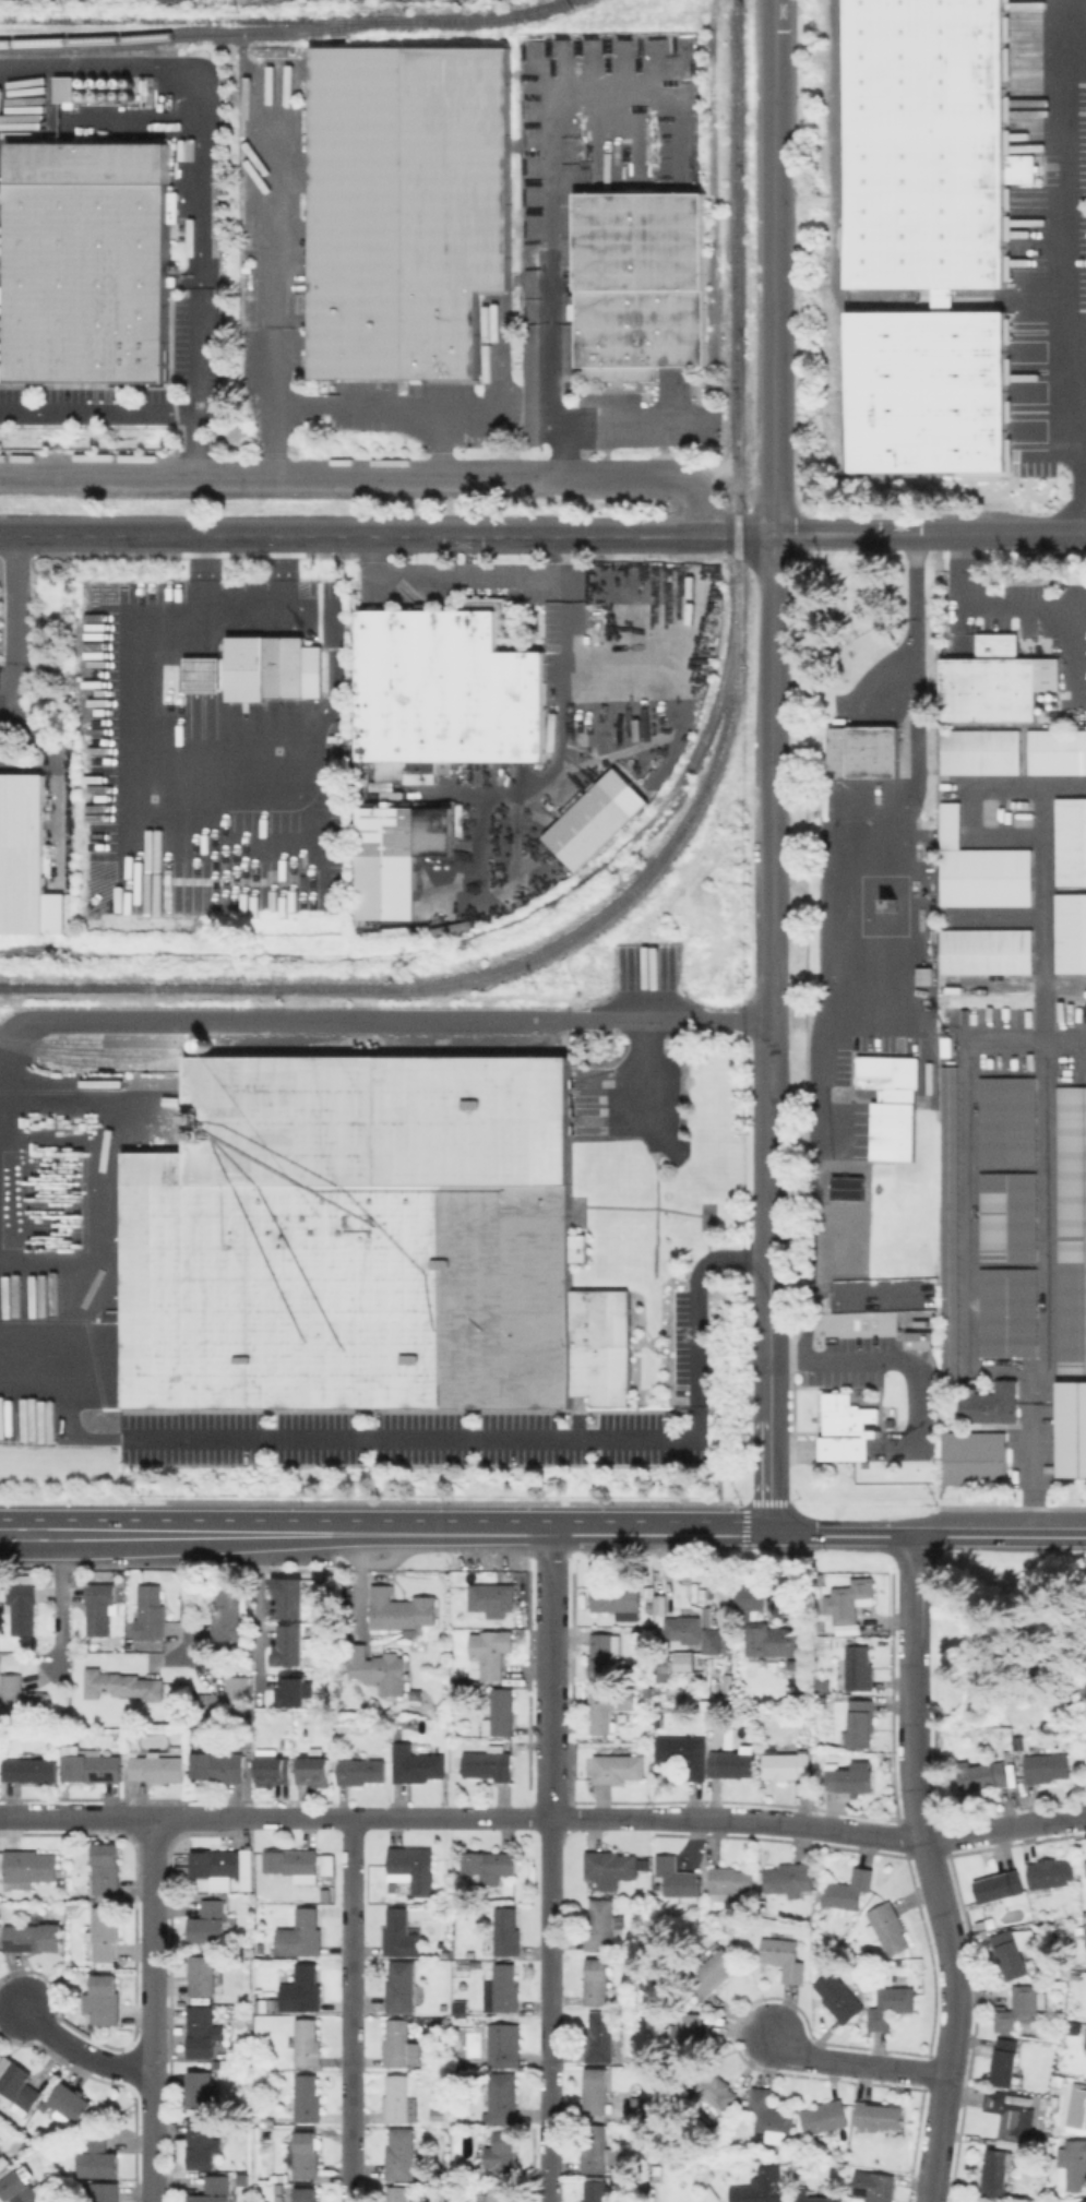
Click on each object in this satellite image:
railway: (287, 21)
railway: (205, 33)
road: (144, 62)
road: (22, 63)
building: (65, 90)
building: (148, 90)
road: (98, 116)
building: (926, 144)
building: (1018, 168)
building: (408, 206)
road: (200, 209)
railway: (839, 233)
road: (550, 238)
building: (642, 240)
building: (92, 262)
road: (775, 269)
road: (1067, 274)
building: (2, 295)
railway: (736, 303)
building: (642, 328)
building: (622, 373)
road: (195, 388)
building: (926, 391)
road: (349, 404)
road: (97, 413)
road: (608, 426)
road: (375, 475)
road: (857, 534)
road: (1013, 534)
road: (8, 535)
road: (193, 536)
road: (572, 537)
road: (474, 575)
road: (204, 579)
building: (492, 607)
road: (982, 612)
road: (15, 618)
road: (308, 624)
building: (263, 666)
building: (200, 675)
building: (998, 682)
building: (447, 688)
road: (128, 705)
road: (563, 750)
building: (863, 750)
building: (978, 751)
building: (1055, 751)
building: (422, 766)
building: (381, 785)
building: (589, 825)
road: (885, 840)
building: (1070, 841)
railway: (619, 849)
building: (398, 856)
building: (26, 860)
building: (978, 868)
building: (839, 894)
building: (1070, 932)
building: (984, 951)
railway: (25, 952)
railway: (174, 954)
building: (921, 975)
railway: (484, 976)
road: (380, 1016)
road: (772, 1036)
railway: (84, 1039)
railway: (93, 1064)
road: (644, 1072)
building: (892, 1104)
building: (1009, 1122)
building: (1009, 1217)
building: (951, 1226)
road: (1043, 1227)
building: (1072, 1231)
building: (356, 1236)
building: (1009, 1313)
building: (917, 1338)
building: (600, 1345)
road: (897, 1361)
building: (992, 1404)
building: (848, 1428)
building: (1072, 1430)
road: (447, 1440)
building: (975, 1459)
road: (1027, 1468)
road: (83, 1535)
road: (175, 1535)
road: (259, 1535)
road: (552, 1535)
road: (840, 1535)
road: (998, 1536)
road: (183, 1594)
building: (648, 1595)
building: (290, 1596)
building: (751, 1596)
road: (58, 1597)
building: (492, 1598)
building: (618, 1599)
building: (850, 1599)
building: (97, 1609)
building: (398, 1610)
building: (20, 1614)
building: (152, 1614)
building: (228, 1614)
road: (258, 1615)
road: (910, 1628)
building: (694, 1631)
building: (773, 1640)
building: (288, 1647)
building: (490, 1652)
building: (604, 1654)
building: (681, 1662)
building: (859, 1668)
building: (379, 1669)
road: (549, 1676)
building: (123, 1685)
building: (821, 1687)
building: (290, 1690)
building: (227, 1698)
building: (21, 1699)
building: (609, 1706)
building: (501, 1713)
building: (860, 1722)
building: (685, 1752)
building: (417, 1763)
building: (490, 1763)
building: (733, 1763)
building: (787, 1764)
building: (93, 1765)
building: (219, 1765)
building: (618, 1766)
building: (1047, 1766)
building: (158, 1767)
building: (272, 1767)
building: (313, 1769)
building: (32, 1770)
building: (361, 1770)
building: (983, 1774)
building: (850, 1780)
road: (126, 1817)
road: (451, 1817)
road: (599, 1817)
road: (302, 1818)
road: (869, 1833)
building: (293, 1860)
building: (222, 1862)
building: (31, 1866)
building: (329, 1866)
building: (490, 1866)
building: (107, 1868)
building: (414, 1868)
building: (1085, 1868)
building: (609, 1870)
building: (1050, 1874)
building: (789, 1877)
building: (679, 1878)
building: (730, 1882)
building: (1000, 1885)
building: (762, 1886)
building: (849, 1889)
building: (1084, 1918)
building: (210, 1923)
building: (600, 1925)
building: (979, 1926)
building: (888, 1927)
building: (106, 1930)
building: (506, 1932)
building: (301, 1933)
building: (401, 1933)
building: (34, 1936)
building: (1085, 1939)
building: (1085, 1949)
building: (1010, 1954)
building: (445, 1956)
building: (461, 1957)
building: (784, 1957)
road: (950, 1959)
building: (711, 1974)
building: (204, 1975)
building: (597, 1981)
building: (402, 1987)
building: (505, 1988)
building: (302, 1989)
building: (838, 1997)
building: (104, 1999)
building: (891, 2004)
building: (266, 2008)
building: (1022, 2008)
building: (462, 2009)
road: (548, 2009)
road: (154, 2010)
road: (353, 2010)
building: (463, 2024)
building: (1072, 2028)
building: (202, 2031)
building: (601, 2036)
building: (689, 2036)
building: (1085, 2042)
building: (308, 2043)
building: (505, 2045)
building: (398, 2048)
road: (83, 2049)
road: (854, 2060)
building: (1005, 2061)
building: (20, 2086)
building: (202, 2087)
building: (598, 2092)
building: (712, 2094)
building: (309, 2098)
building: (501, 2099)
building: (399, 2100)
building: (72, 2103)
building: (642, 2109)
building: (1077, 2109)
building: (1007, 2114)
building: (438, 2115)
building: (880, 2115)
building: (772, 2116)
building: (825, 2117)
building: (202, 2142)
building: (596, 2150)
building: (402, 2154)
building: (503, 2154)
building: (1, 2155)
building: (306, 2155)
building: (98, 2156)
building: (2, 2162)
building: (1073, 2164)
building: (993, 2171)
building: (874, 2186)
building: (761, 2187)
building: (19, 2188)
building: (215, 2189)
building: (103, 2191)
building: (596, 2191)
building: (399, 2193)
building: (499, 2193)
building: (307, 2194)
building: (813, 2197)
building: (281, 2199)
building: (1001, 2201)
building: (1084, 2201)

